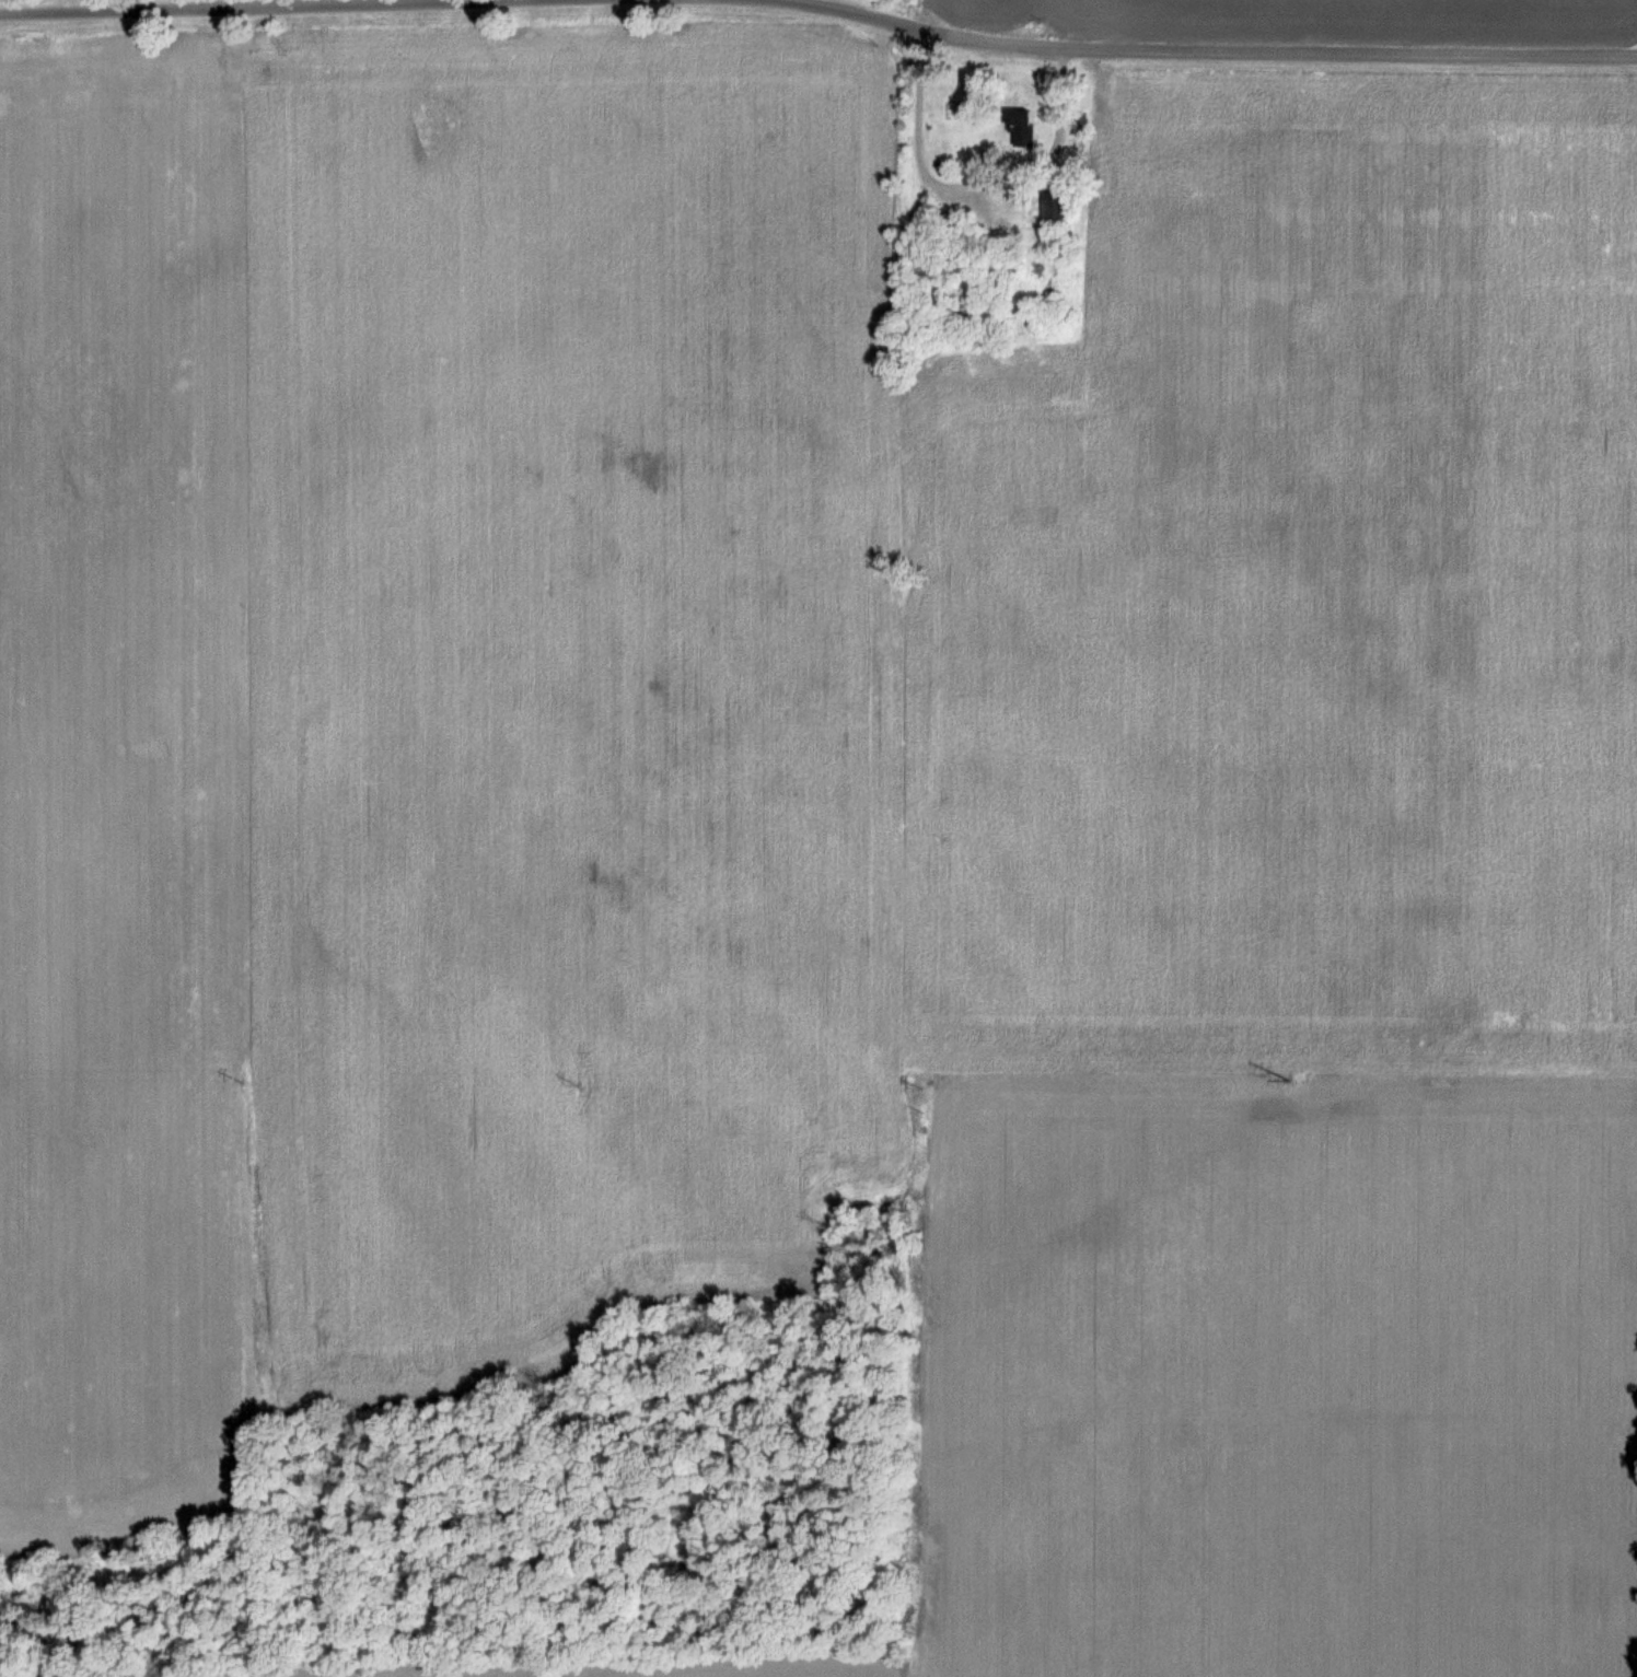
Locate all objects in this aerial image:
road: (244, 7)
road: (850, 7)
road: (1257, 50)
building: (1023, 128)
road: (968, 182)
building: (1056, 208)
building: (1057, 240)

